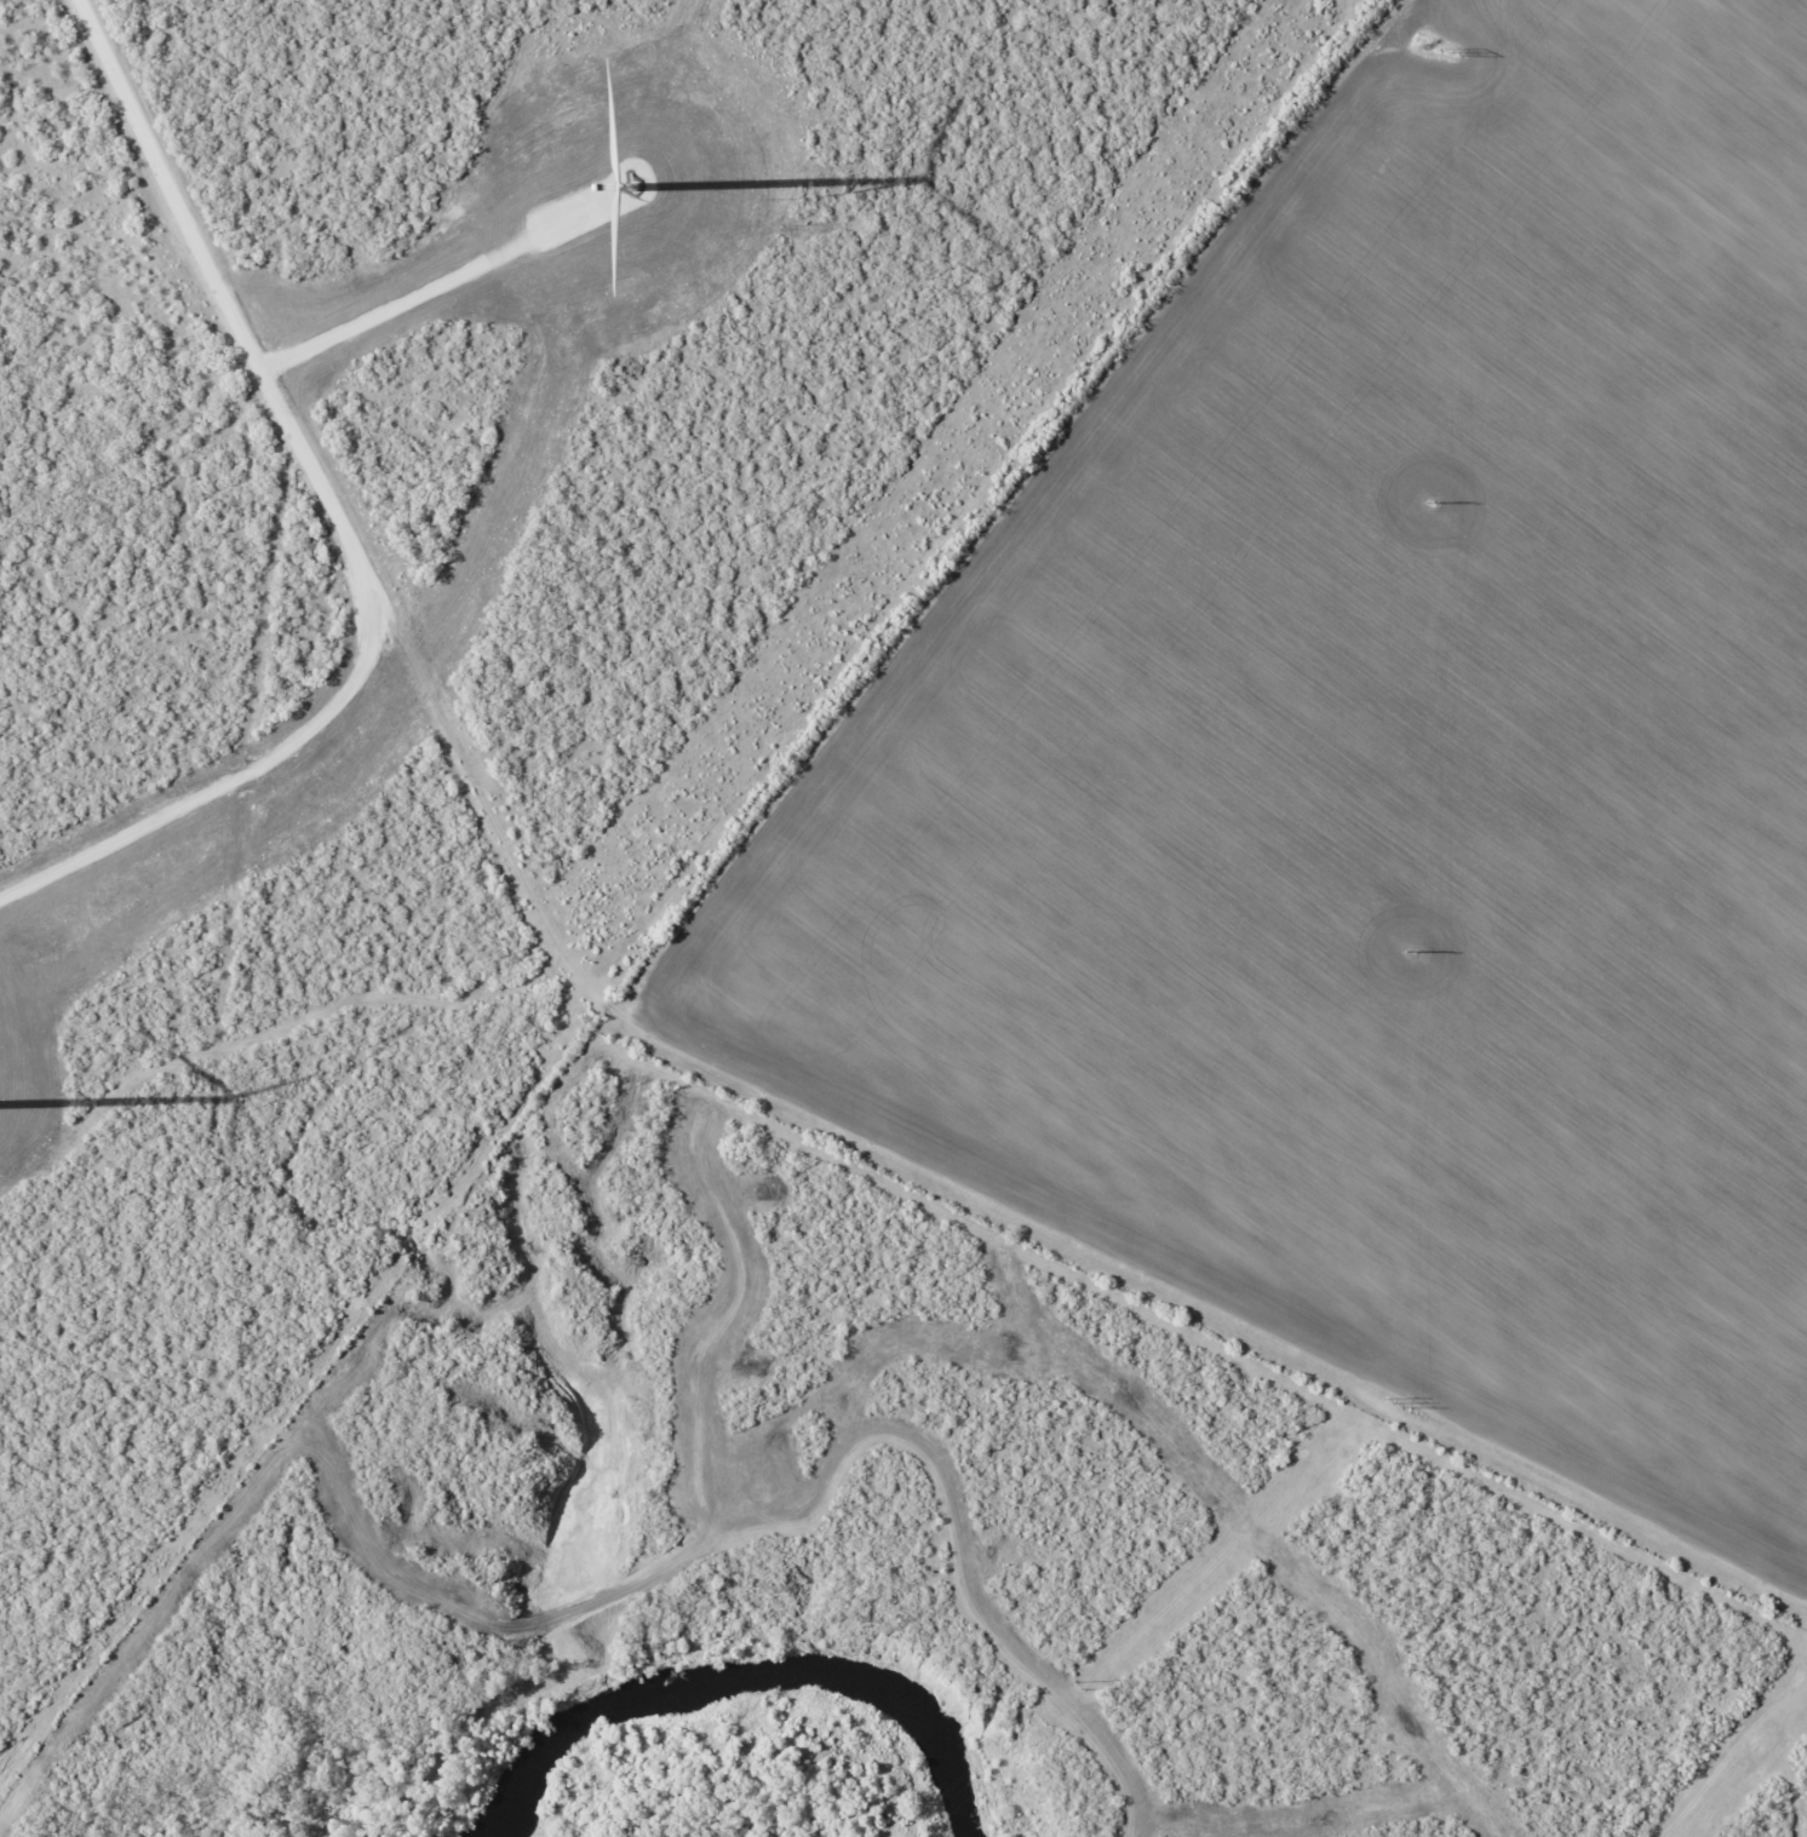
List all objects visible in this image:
power tower: (1451, 52)
wind turbine: (620, 167)
power tower: (1430, 501)
road: (1039, 505)
power tower: (1410, 949)
road: (683, 1075)
power tower: (1394, 1401)
river: (739, 1674)
power tower: (1079, 1686)

